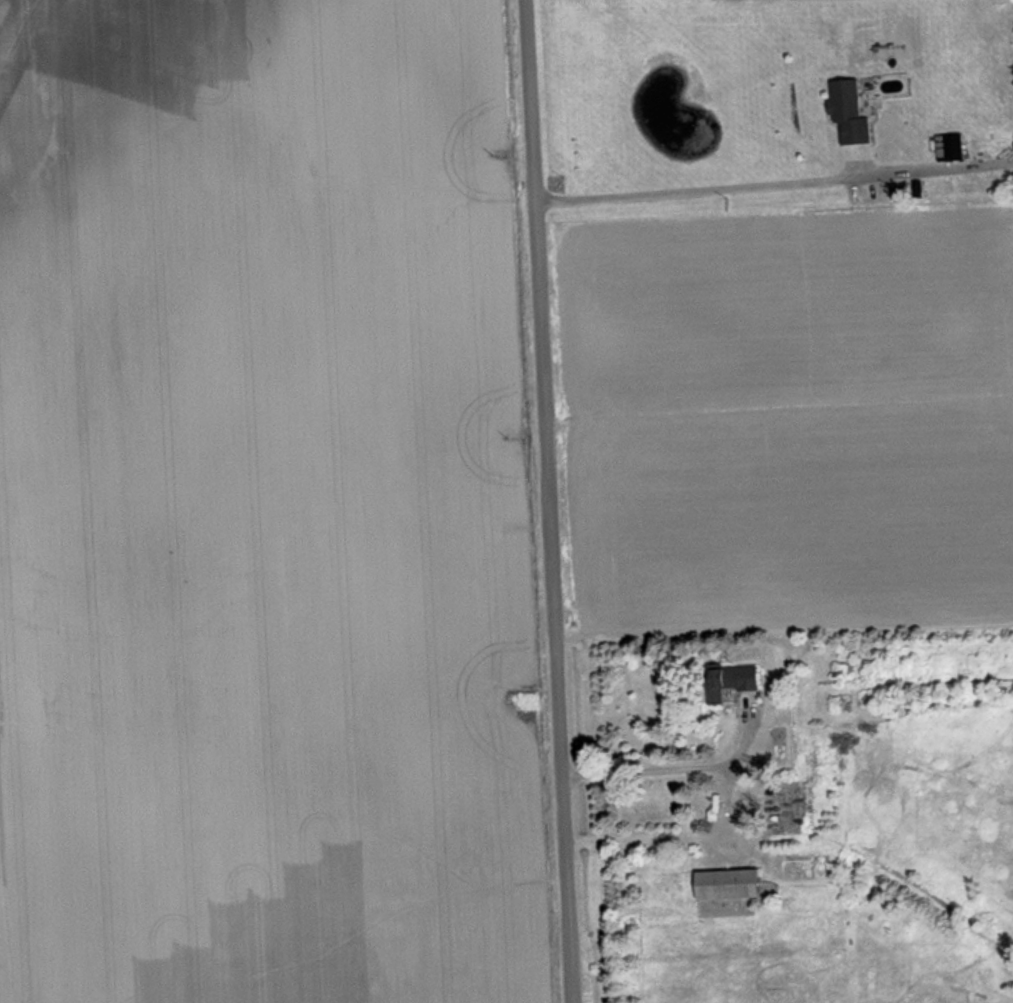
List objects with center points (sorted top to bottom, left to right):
building: (851, 101)
building: (959, 148)
road: (543, 501)
building: (732, 683)
building: (733, 885)

